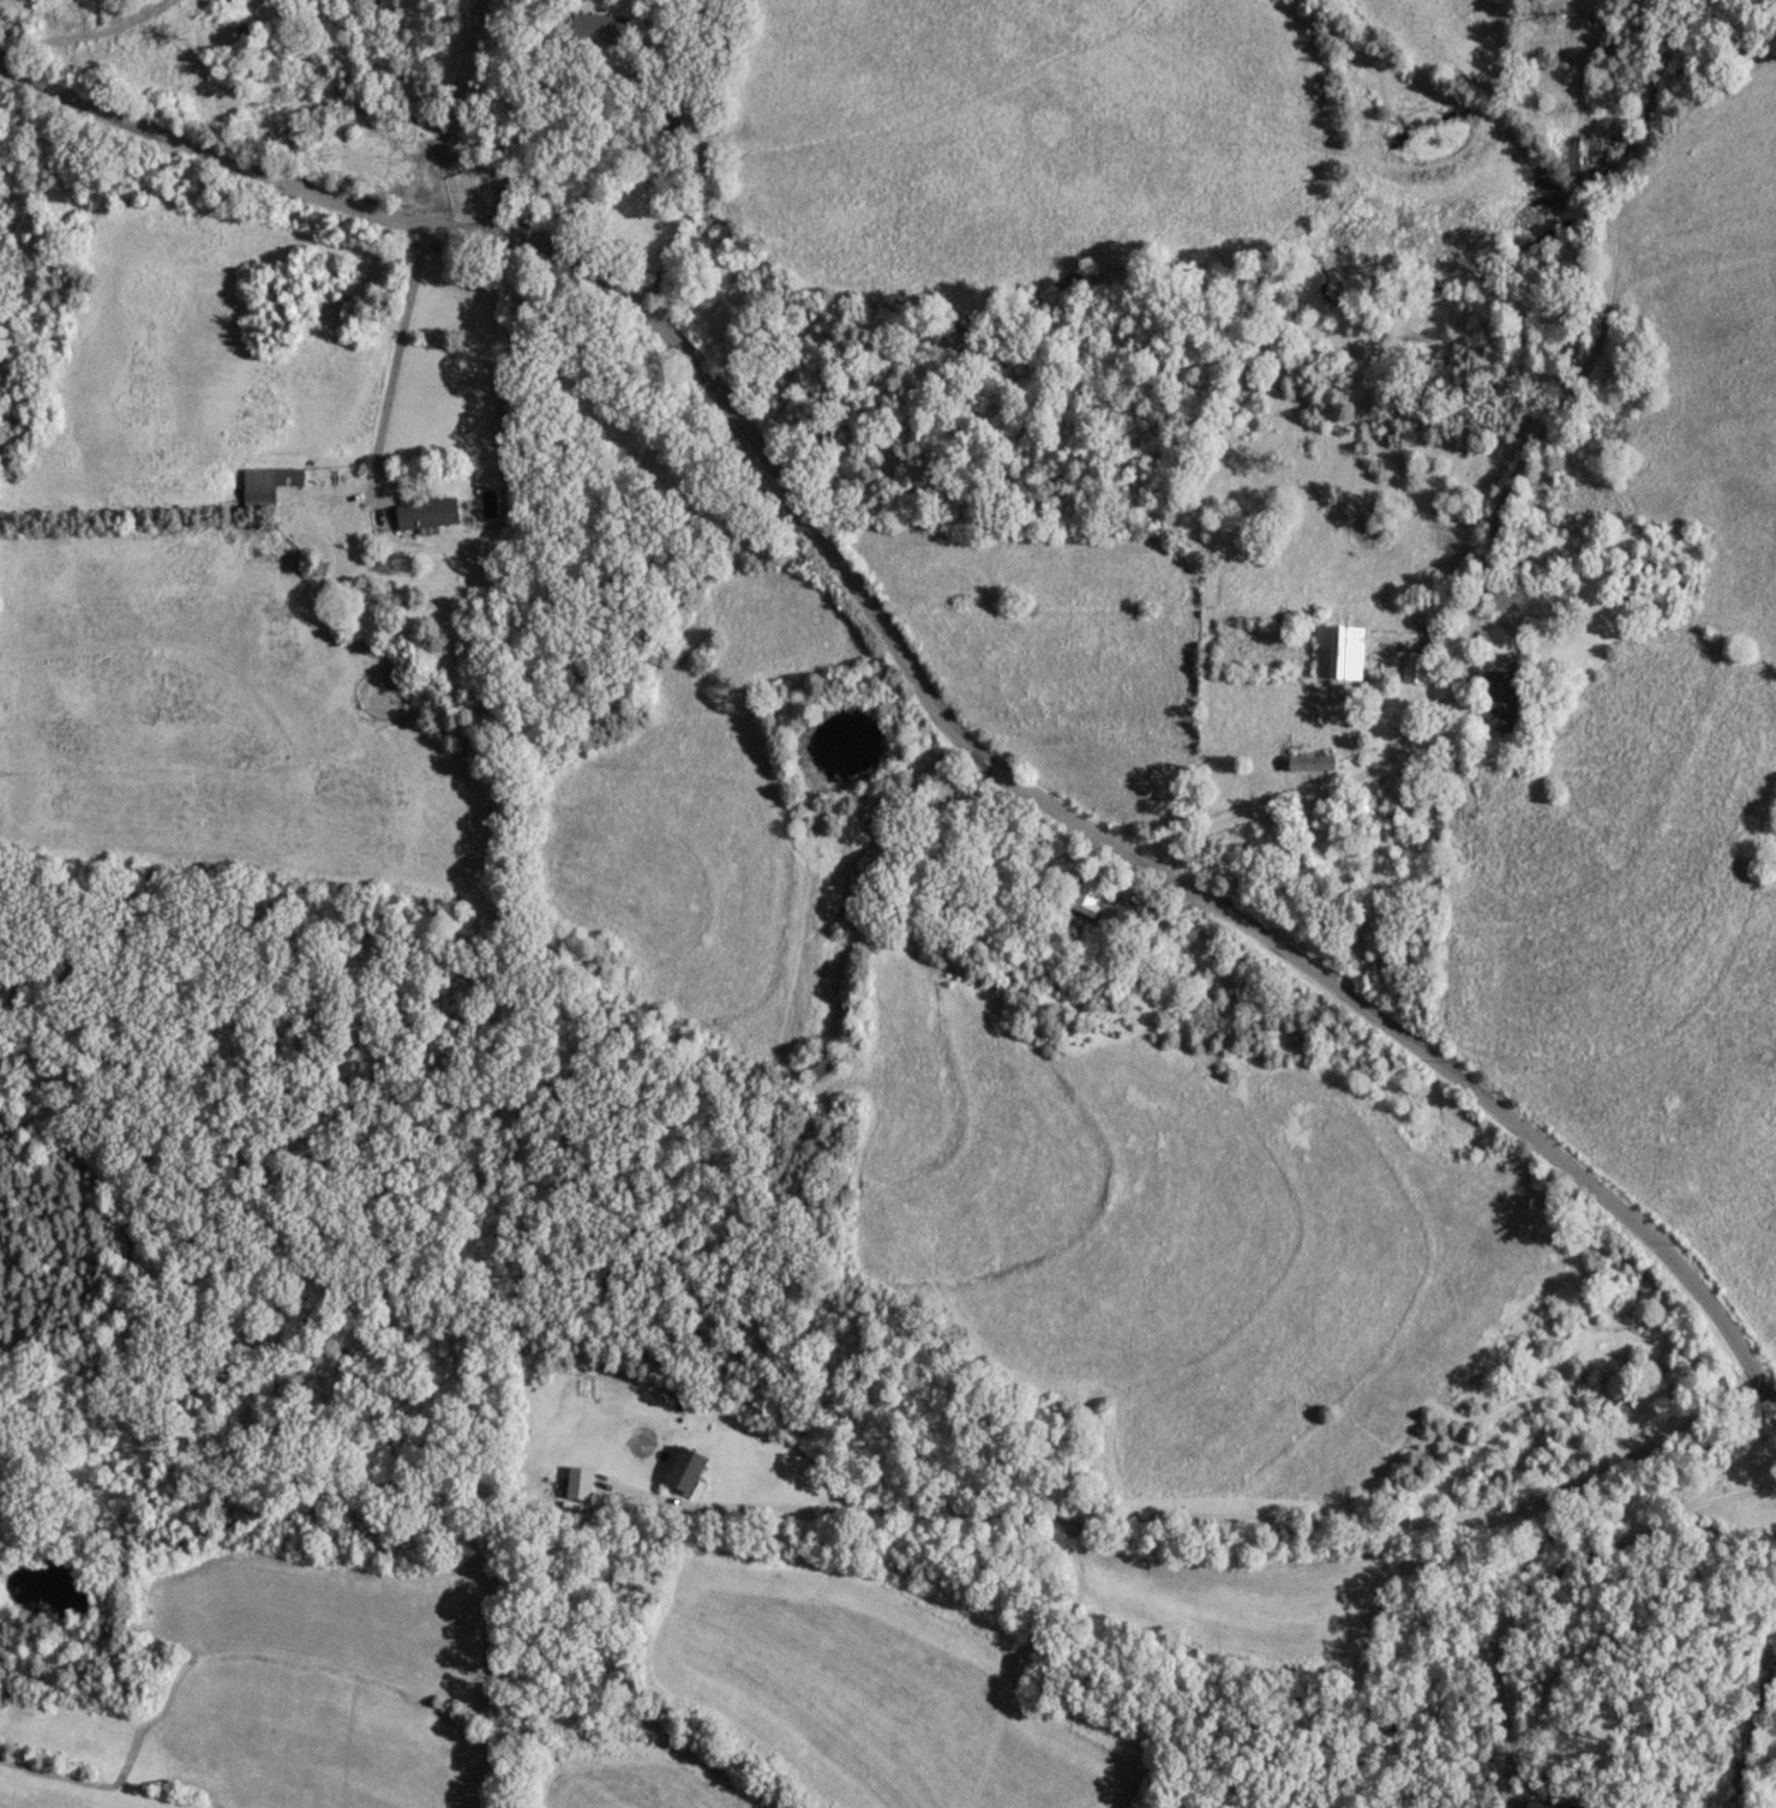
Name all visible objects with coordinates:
building: (599, 25)
road: (85, 35)
road: (690, 190)
road: (395, 368)
building: (265, 481)
building: (424, 510)
building: (1620, 583)
building: (1525, 597)
building: (1336, 649)
building: (1412, 667)
road: (911, 671)
building: (1499, 695)
building: (1308, 759)
road: (1373, 764)
building: (1084, 893)
building: (814, 1062)
building: (682, 1466)
road: (1256, 1519)
road: (1562, 1574)
road: (1747, 1734)

